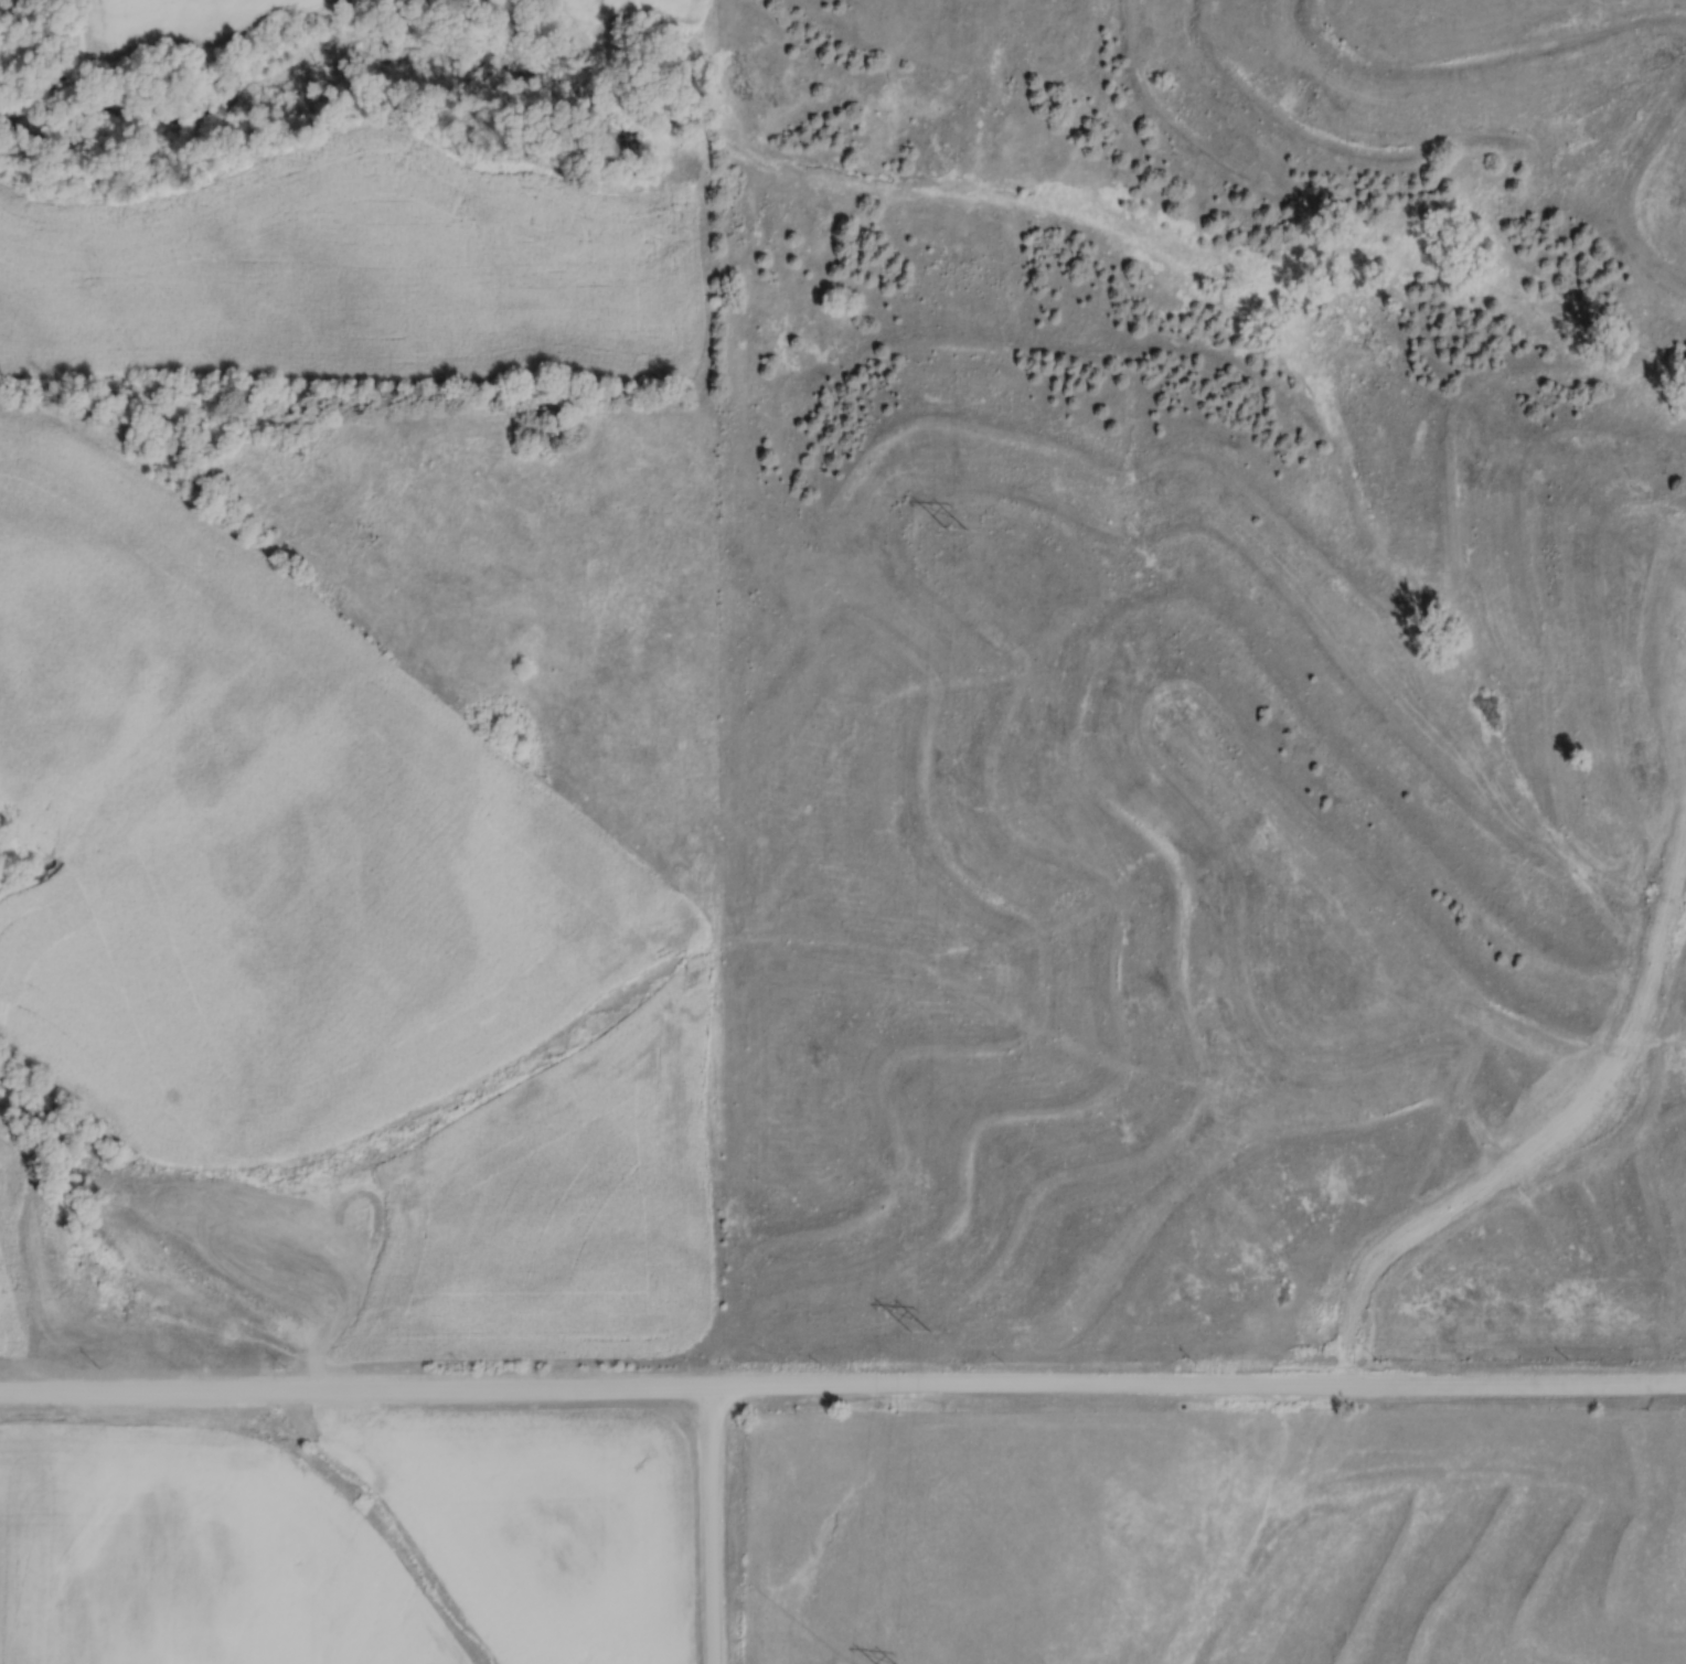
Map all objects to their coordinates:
power tower: (959, 533)
power tower: (925, 1340)
road: (842, 1389)
road: (713, 1527)

